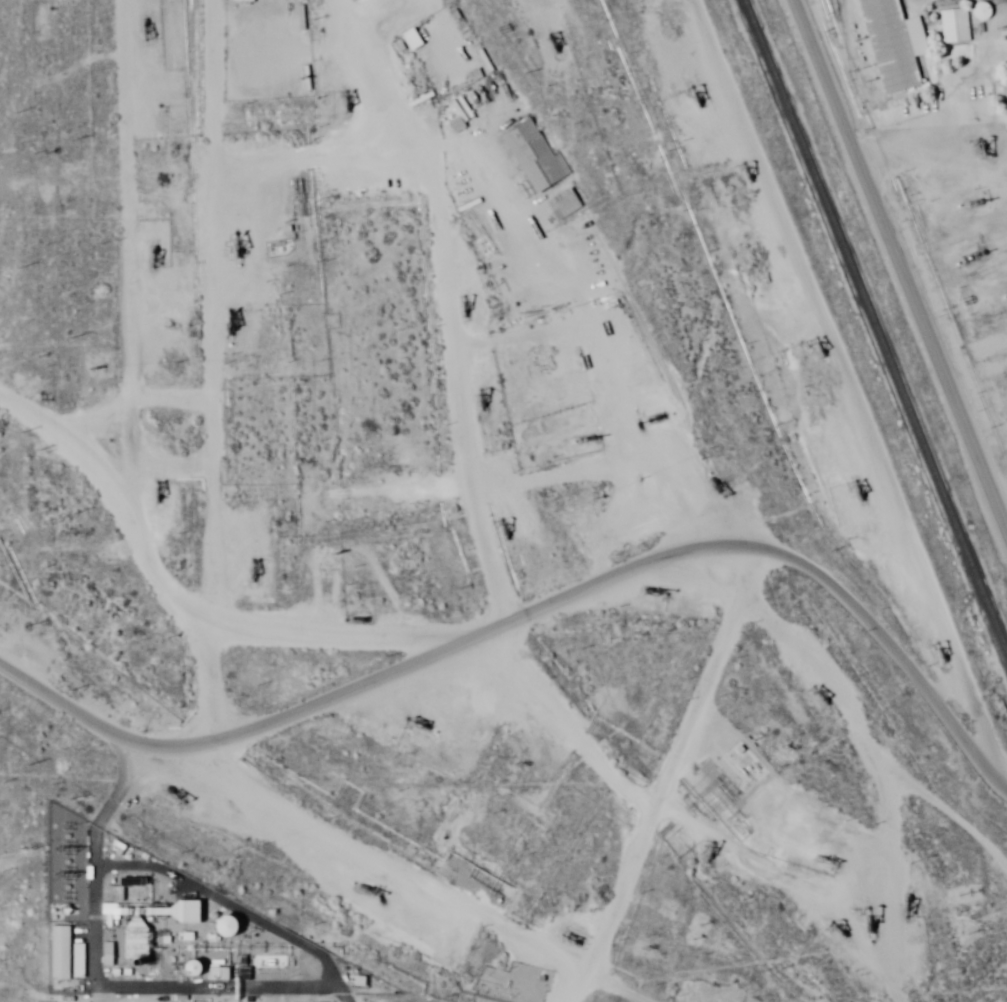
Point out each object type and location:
building: (953, 27)
building: (1004, 27)
building: (411, 40)
building: (892, 45)
road: (182, 101)
building: (534, 156)
road: (240, 179)
building: (565, 205)
road: (901, 255)
road: (688, 298)
railway: (873, 332)
road: (99, 376)
road: (46, 460)
road: (520, 552)
road: (706, 557)
road: (601, 583)
road: (75, 704)
road: (814, 779)
road: (75, 801)
road: (343, 876)
building: (134, 941)
building: (59, 954)
building: (78, 961)

